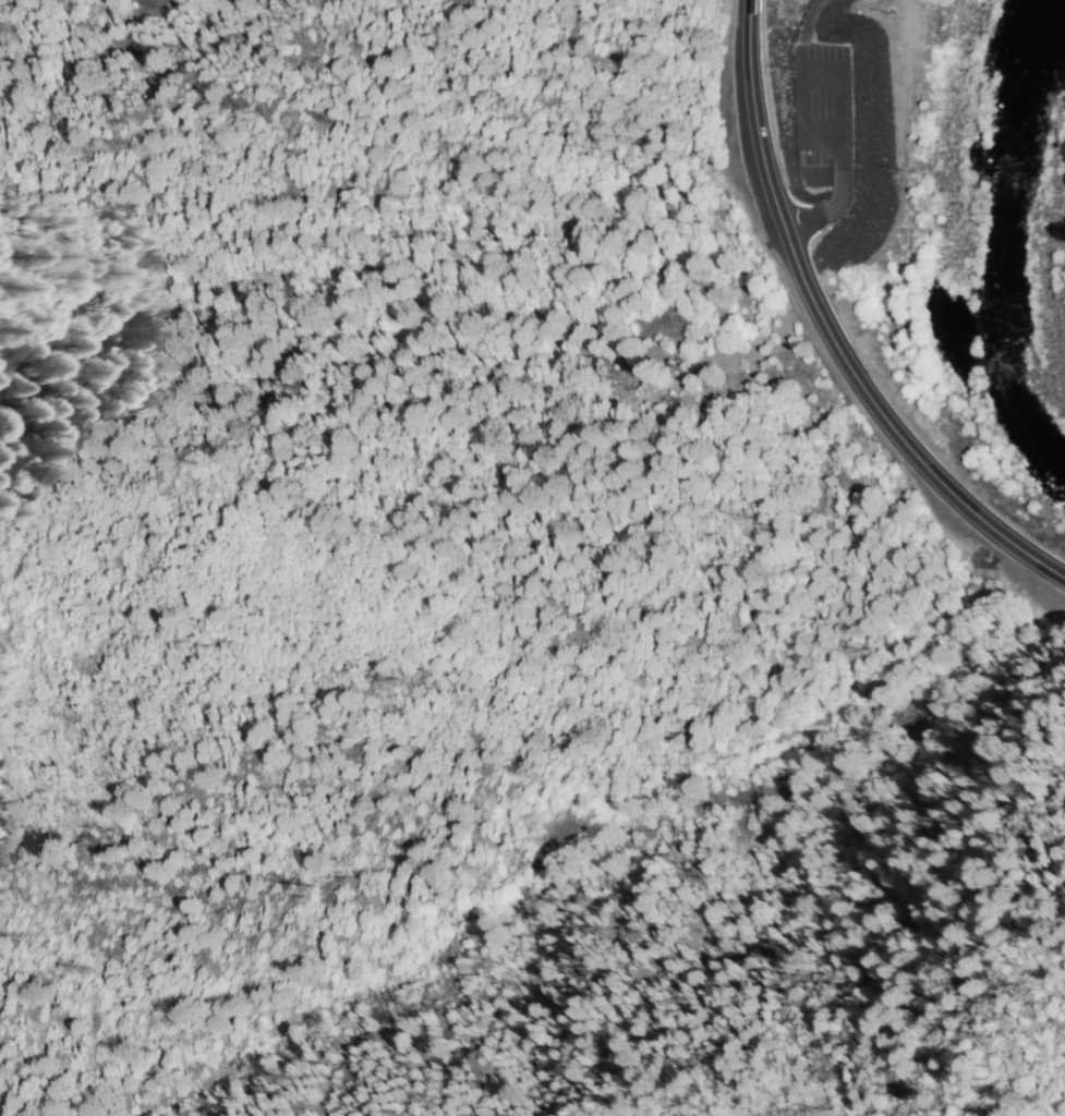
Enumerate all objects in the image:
river: (1029, 116)
road: (823, 333)
river: (1016, 355)

